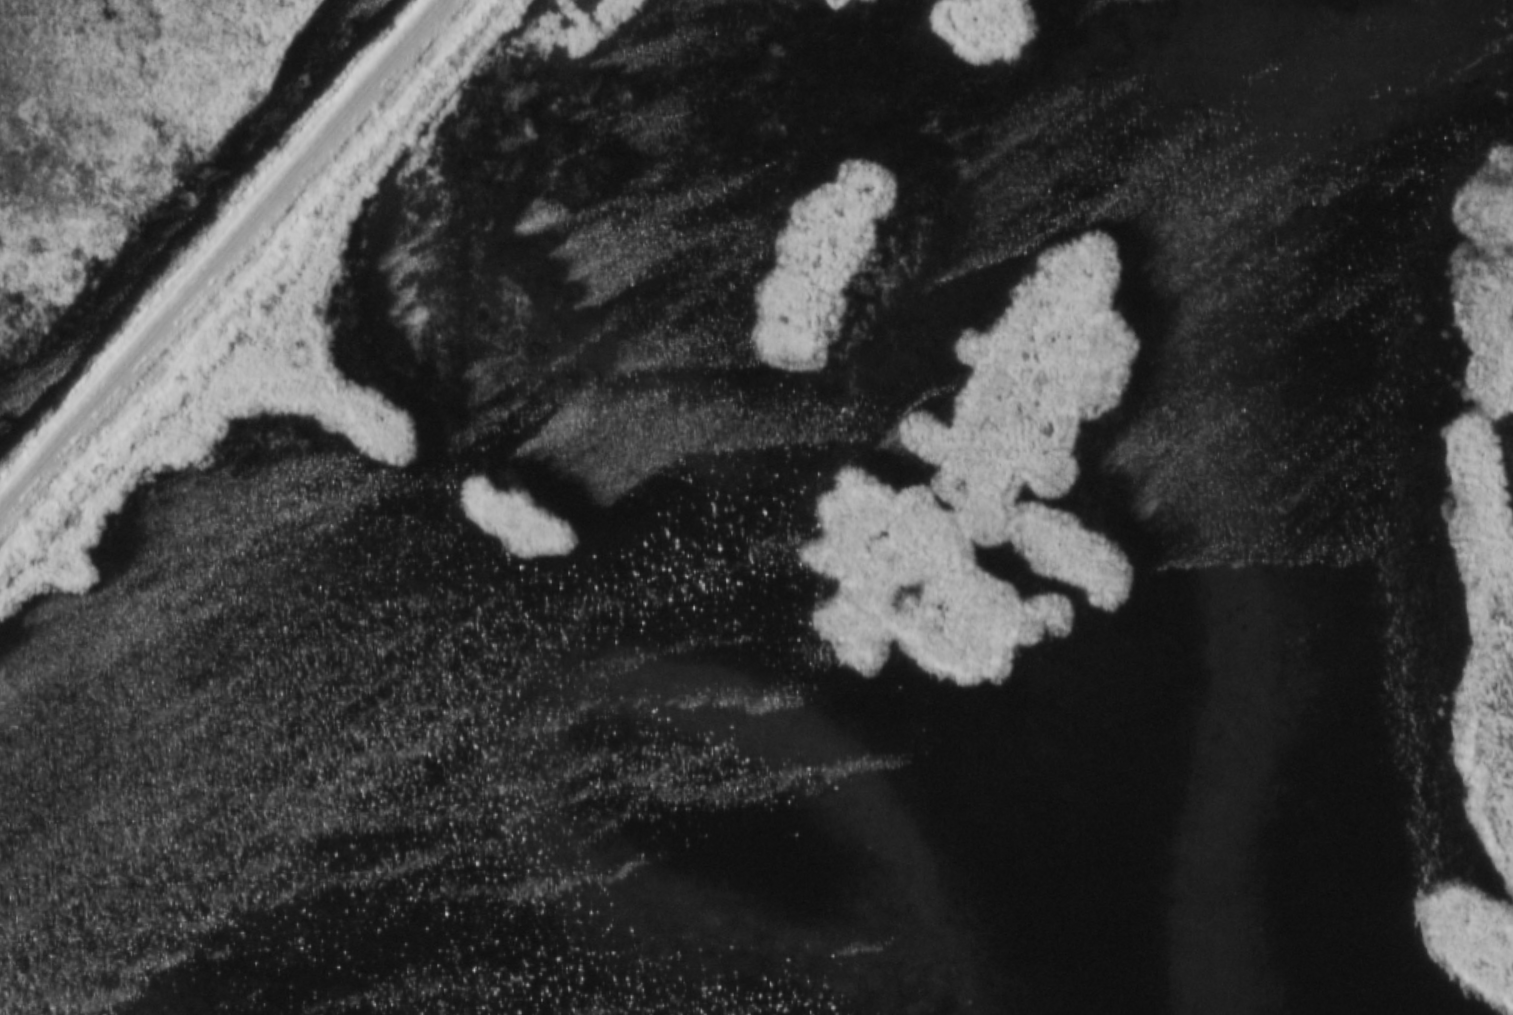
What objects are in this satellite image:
road: (219, 252)
dam: (238, 272)

